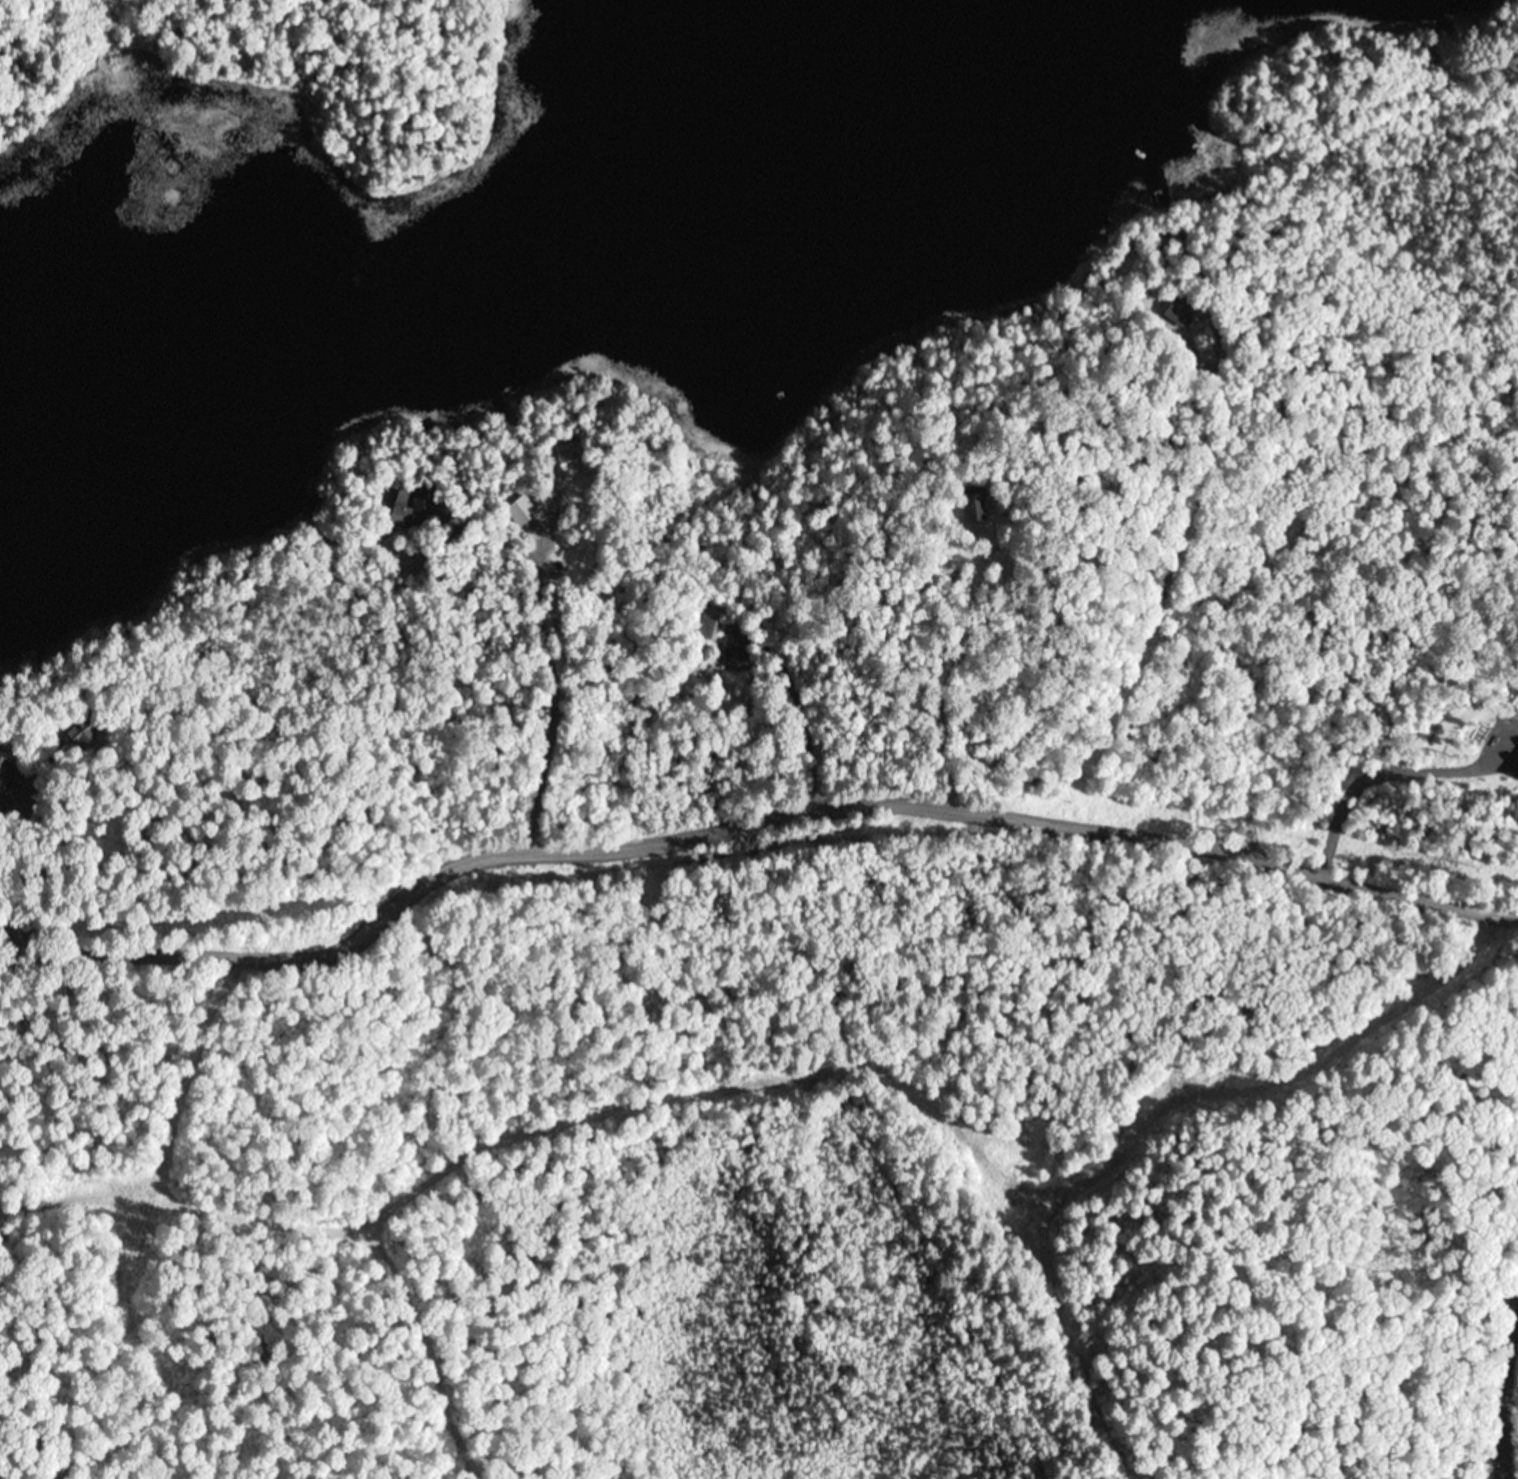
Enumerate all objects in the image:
road: (1476, 92)
road: (1243, 614)
road: (541, 672)
road: (750, 815)
road: (157, 1126)
road: (1306, 1235)
road: (1501, 1380)

